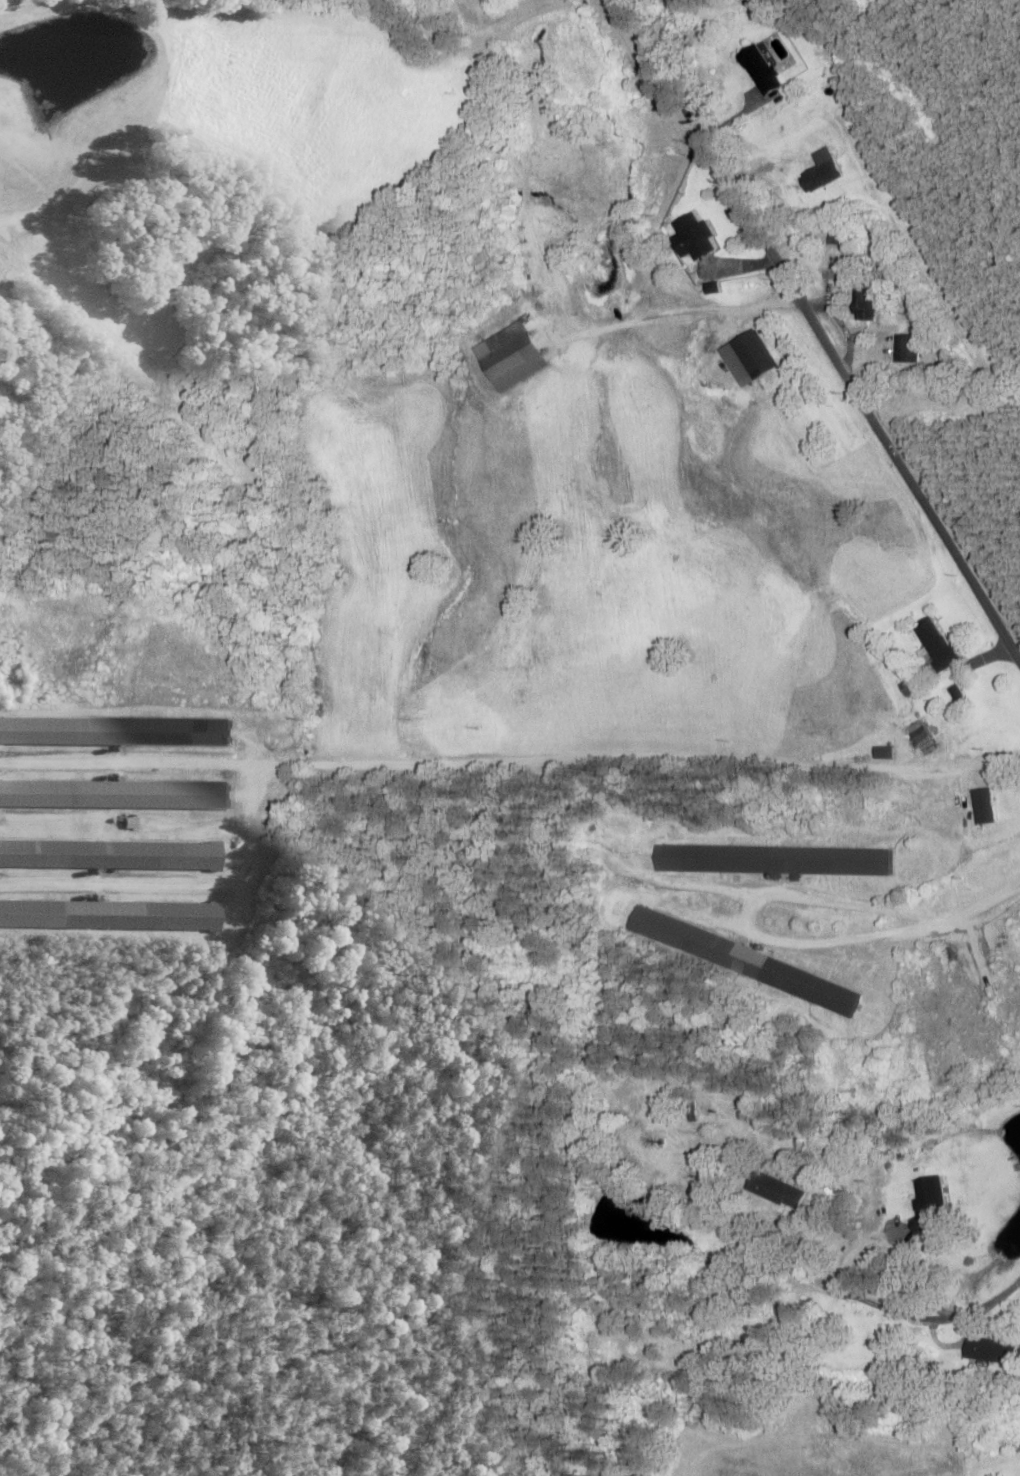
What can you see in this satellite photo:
building: (757, 70)
building: (843, 237)
building: (691, 238)
building: (864, 305)
road: (822, 333)
building: (908, 348)
building: (751, 354)
building: (510, 358)
building: (932, 648)
building: (115, 732)
building: (882, 754)
building: (114, 795)
building: (104, 855)
building: (772, 861)
building: (104, 916)
building: (742, 962)
building: (773, 1191)
building: (926, 1203)
road: (942, 1315)
building: (619, 1346)
building: (987, 1352)

